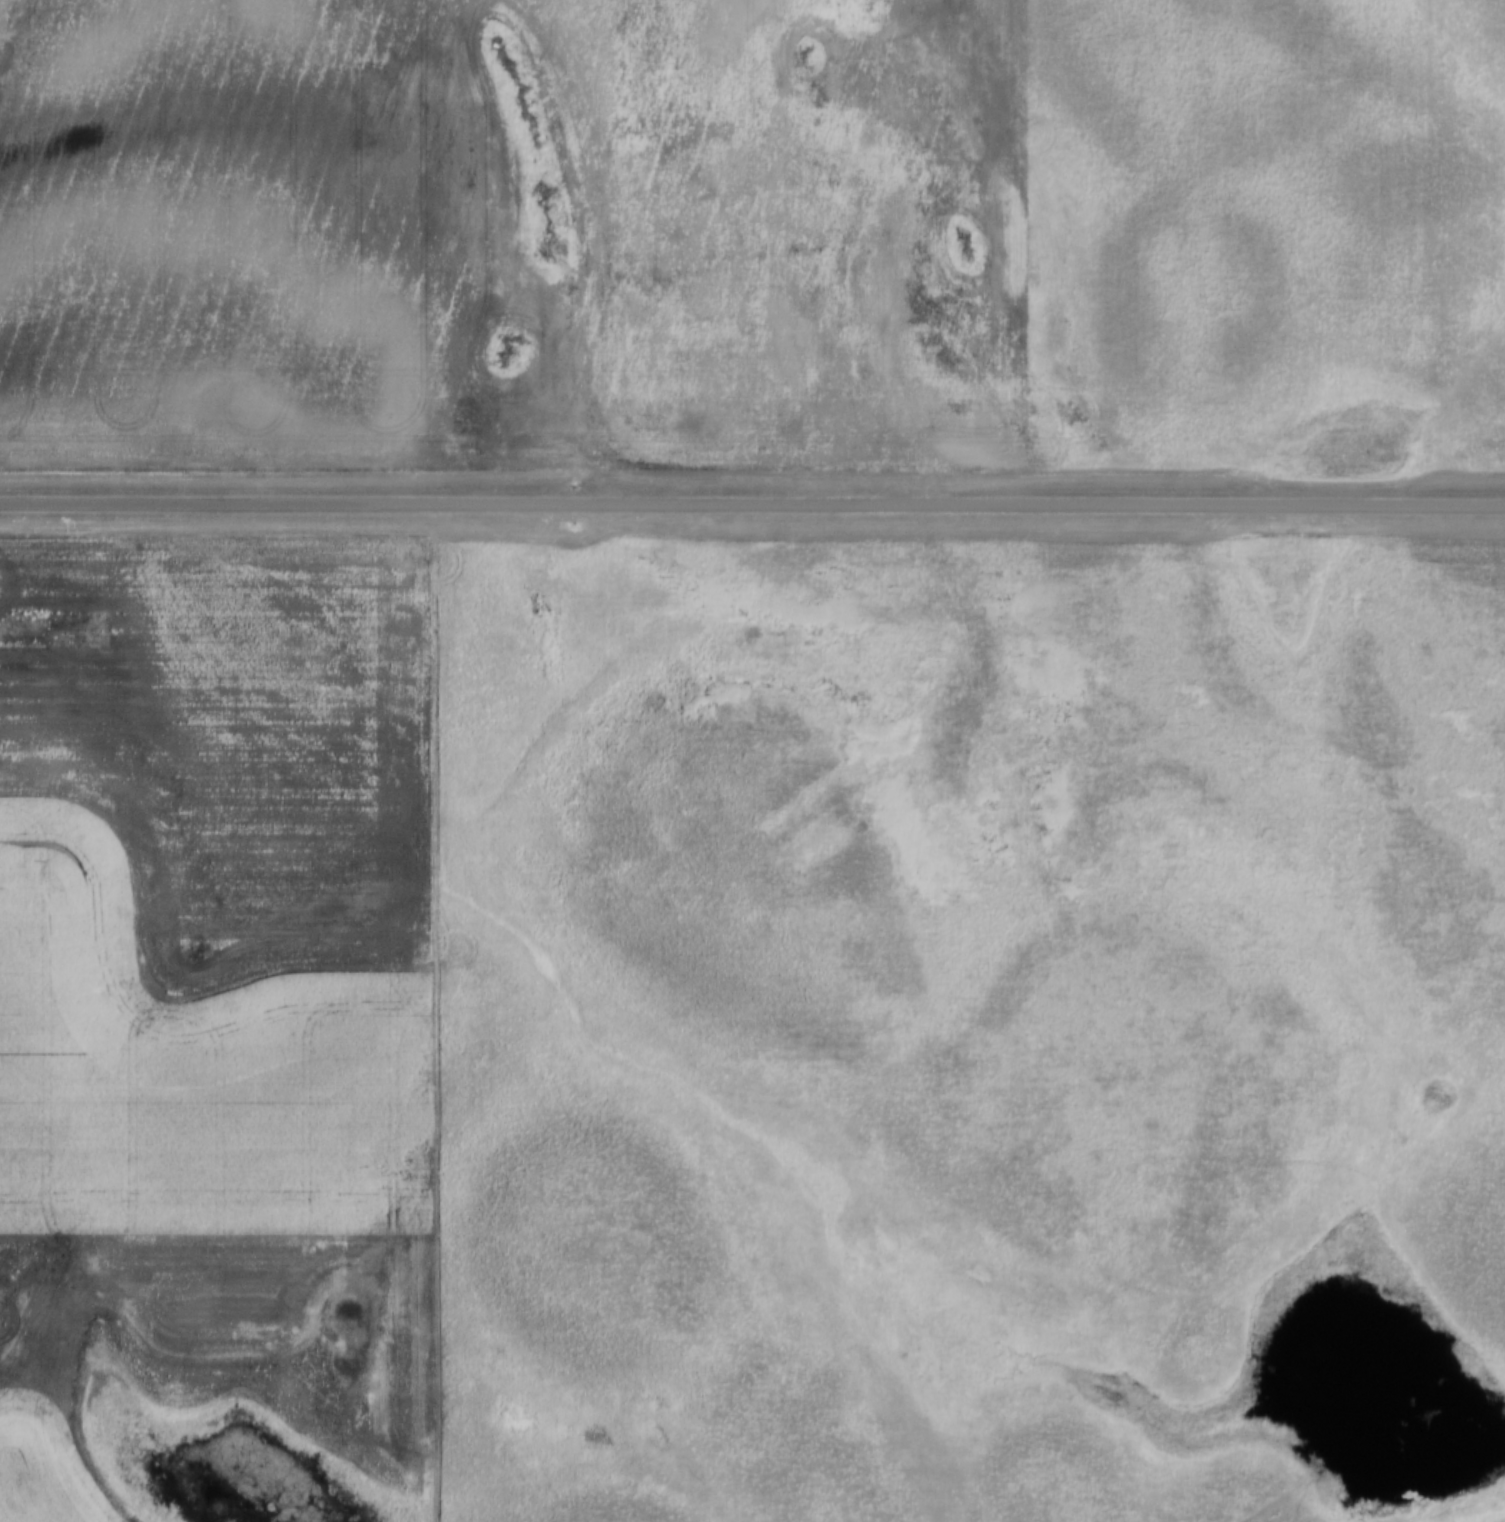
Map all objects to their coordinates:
building: (870, 290)
building: (816, 321)
road: (752, 502)

